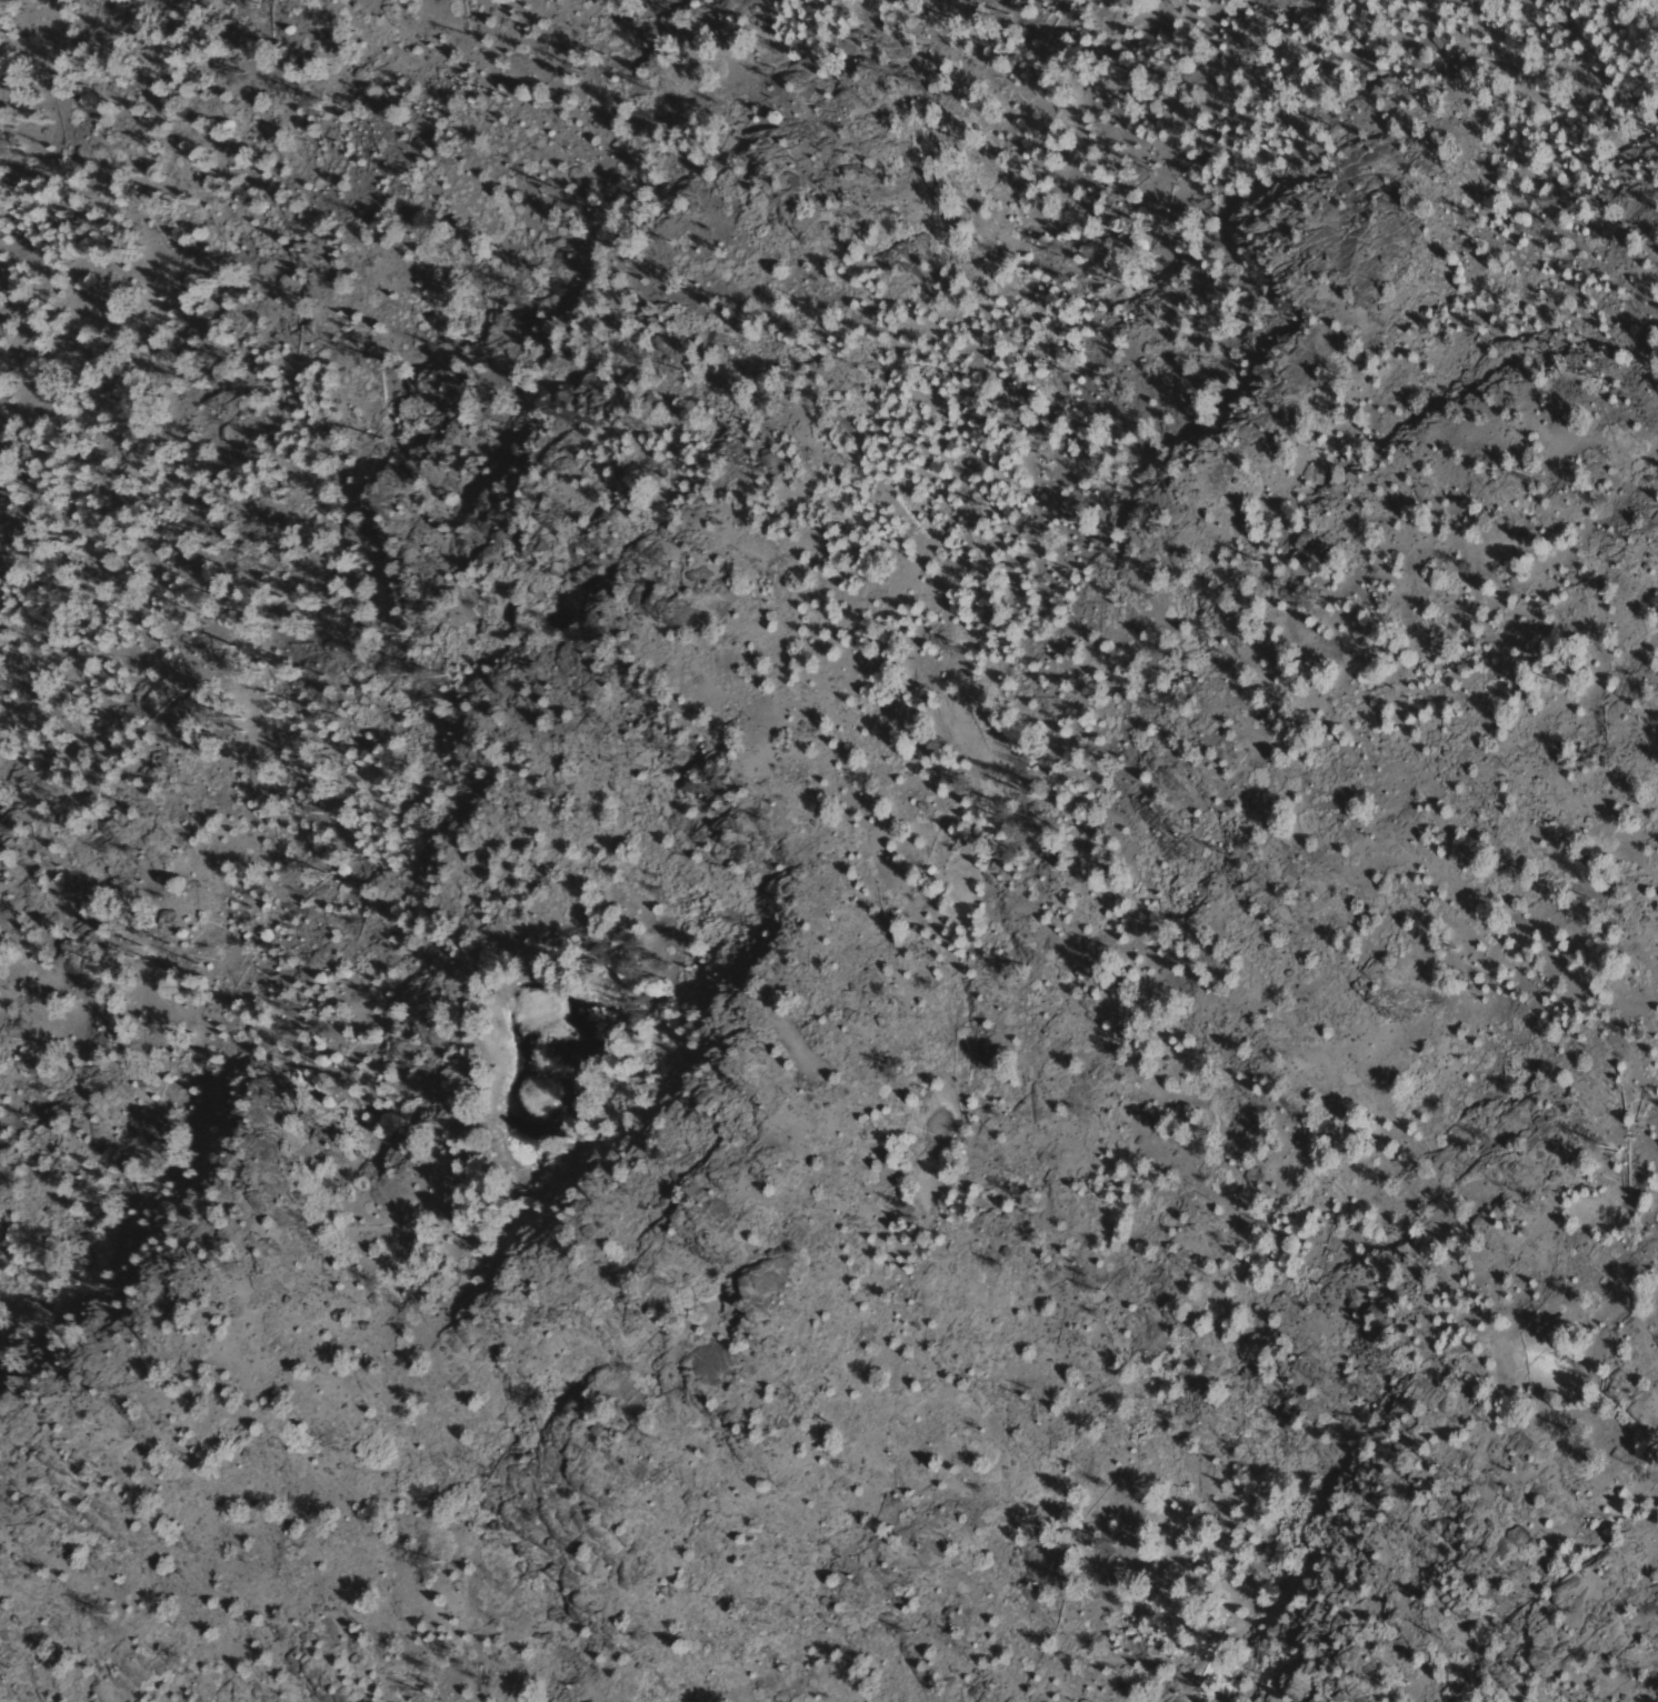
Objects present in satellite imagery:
road: (138, 129)

